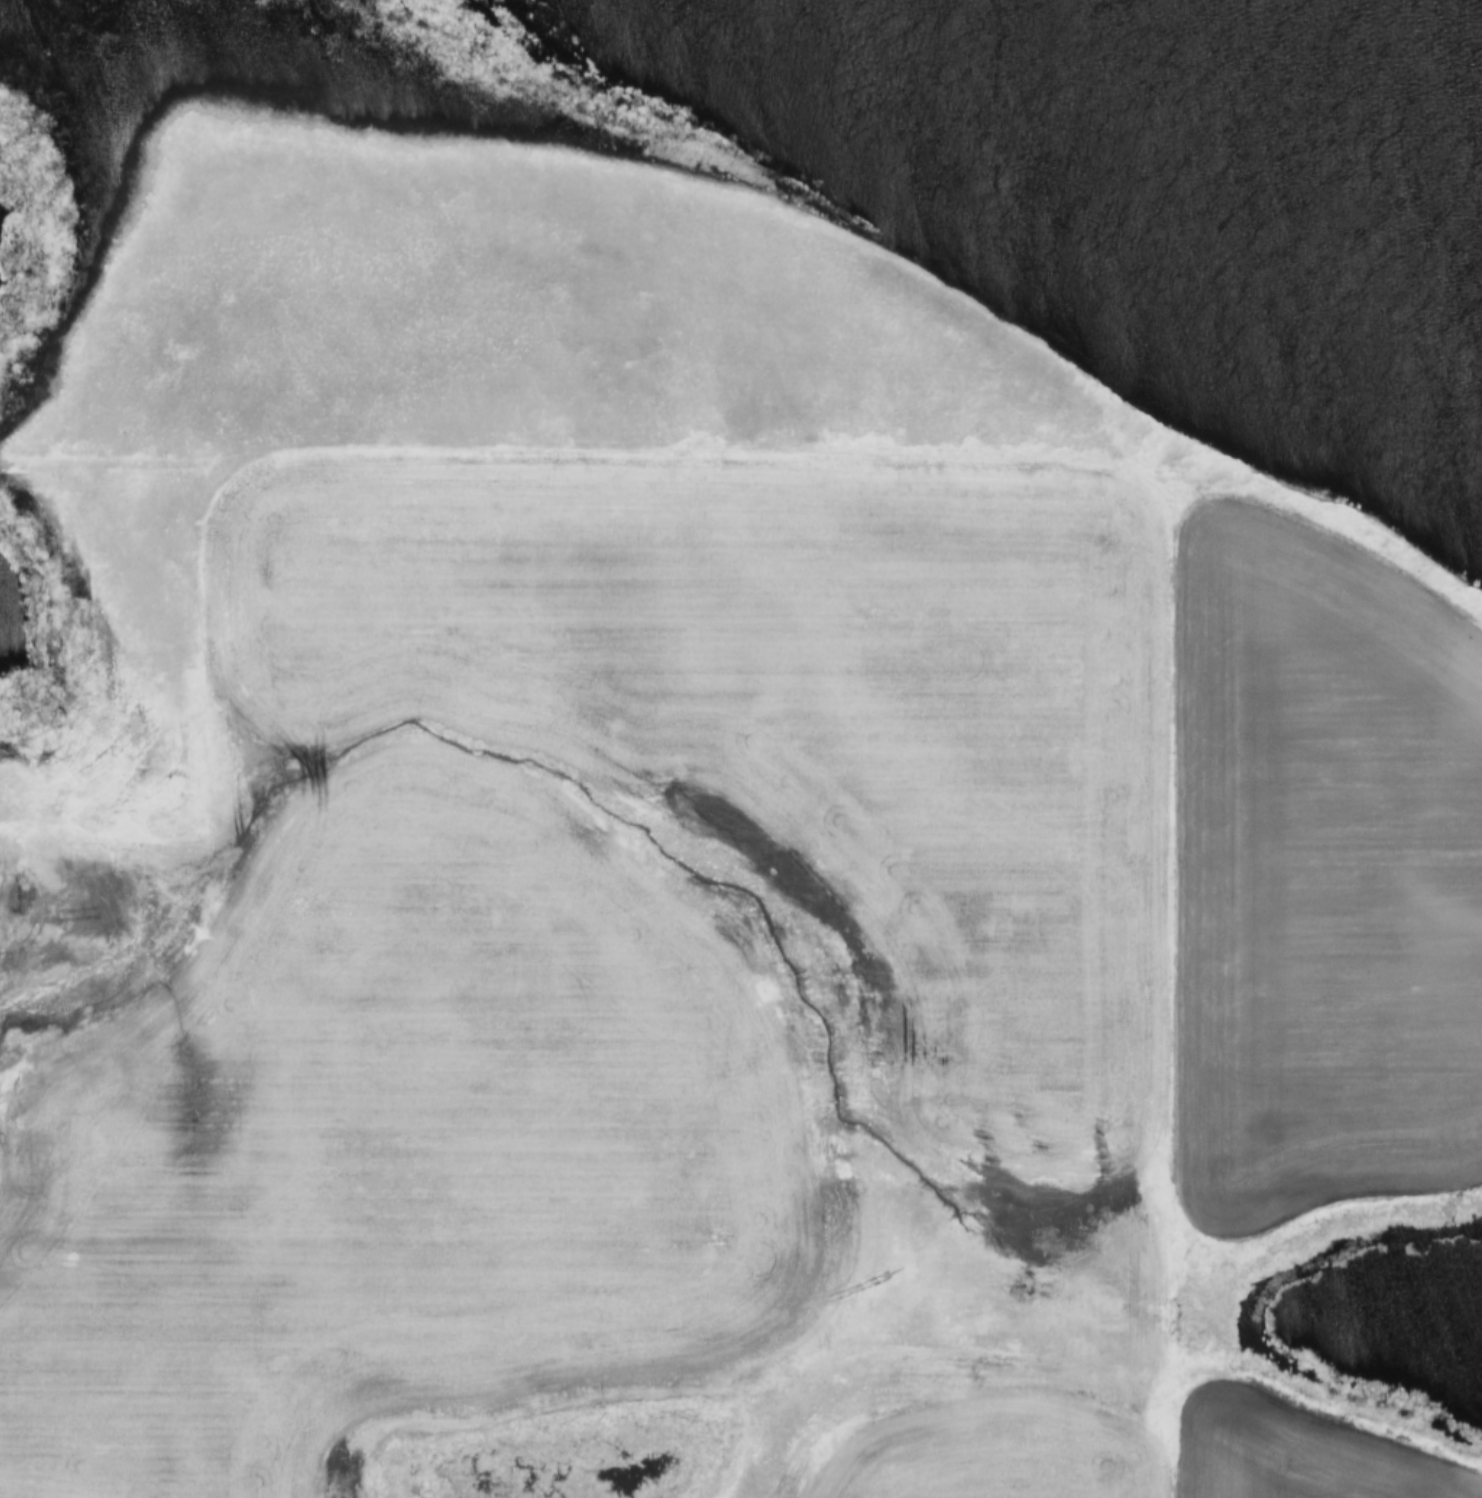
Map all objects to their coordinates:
road: (1366, 556)

